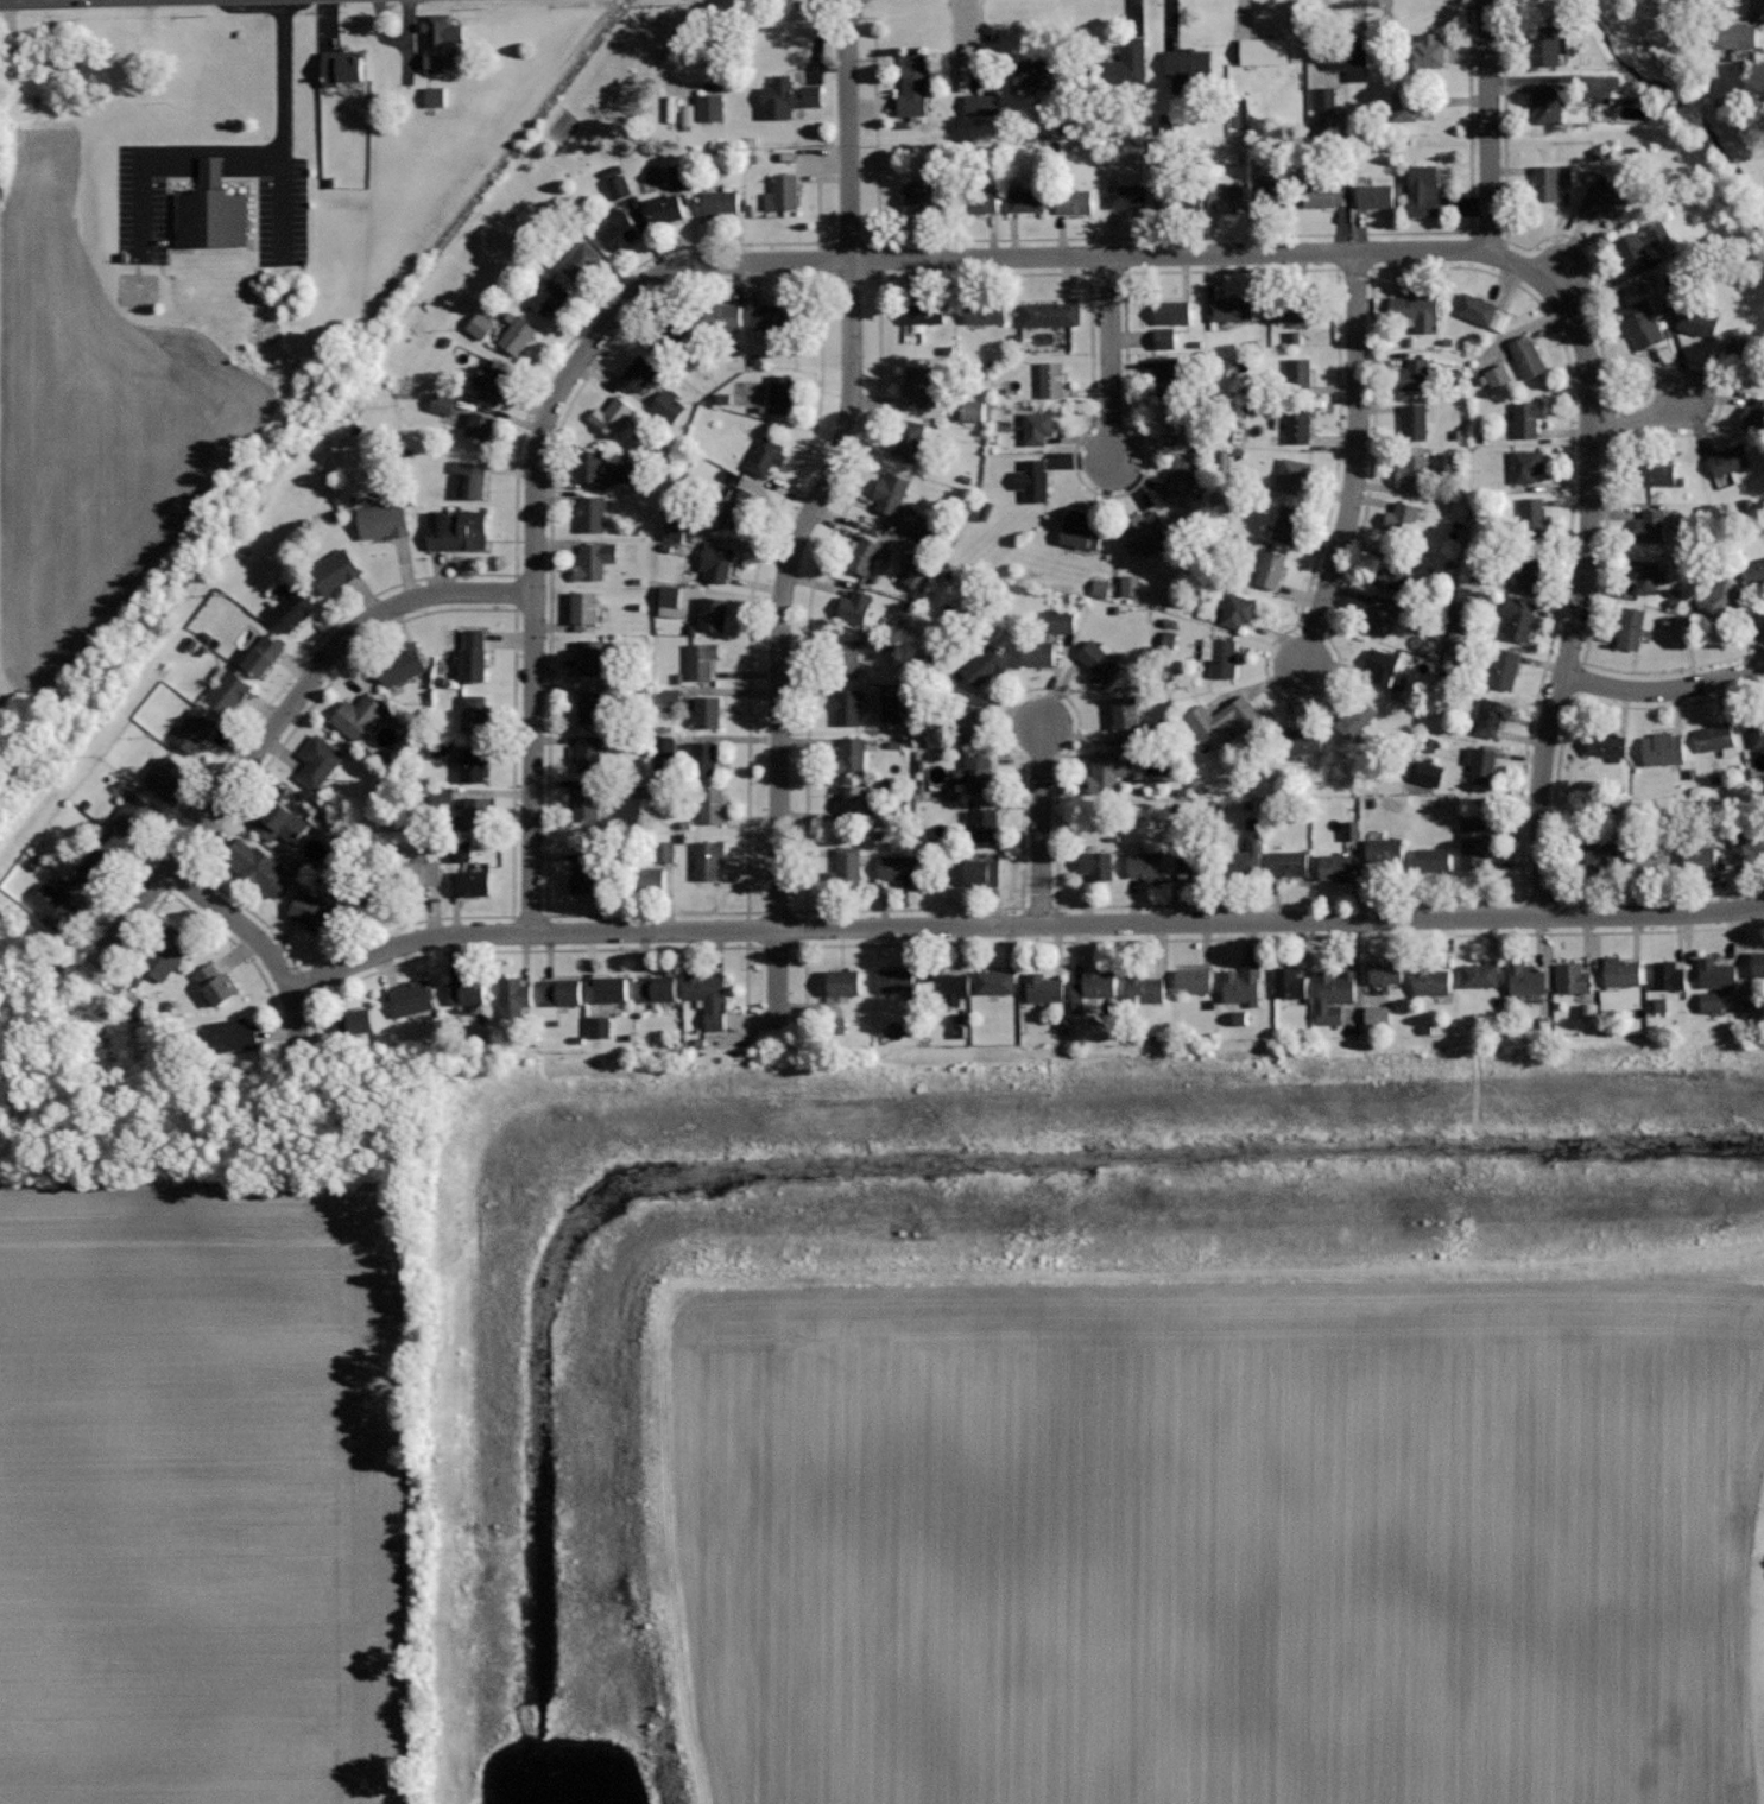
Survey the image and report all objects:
road: (45, 0)
building: (1737, 36)
building: (441, 40)
building: (1545, 45)
building: (1263, 50)
building: (1425, 52)
building: (1348, 58)
building: (1125, 64)
building: (342, 65)
building: (1186, 67)
building: (1035, 72)
building: (913, 86)
building: (440, 97)
building: (786, 97)
building: (1329, 99)
building: (1549, 101)
building: (1412, 105)
building: (985, 106)
building: (714, 108)
building: (1602, 114)
building: (691, 115)
building: (1339, 122)
road: (1488, 126)
road: (284, 131)
road: (169, 151)
building: (1569, 176)
building: (684, 177)
building: (1545, 182)
building: (621, 189)
building: (1423, 190)
building: (782, 192)
building: (1271, 194)
building: (1326, 194)
building: (1126, 195)
building: (1374, 195)
building: (1176, 196)
building: (1226, 196)
building: (923, 197)
building: (1026, 200)
building: (976, 201)
building: (1074, 201)
building: (1602, 201)
building: (720, 202)
building: (665, 208)
building: (210, 209)
building: (619, 228)
building: (1632, 249)
building: (580, 260)
road: (722, 262)
building: (1680, 290)
building: (549, 295)
building: (1288, 306)
building: (1231, 308)
building: (1416, 309)
building: (925, 310)
building: (1479, 310)
building: (984, 311)
building: (1049, 312)
building: (1168, 312)
building: (722, 316)
building: (1697, 317)
building: (770, 318)
building: (1642, 323)
building: (483, 327)
building: (671, 330)
building: (518, 334)
building: (1168, 340)
building: (1743, 349)
building: (1526, 355)
road: (1109, 360)
building: (640, 371)
building: (1298, 372)
building: (1414, 374)
building: (1168, 376)
building: (1501, 378)
building: (1051, 379)
building: (493, 382)
building: (916, 384)
building: (780, 393)
building: (447, 405)
building: (671, 407)
railway: (315, 410)
building: (976, 411)
building: (1754, 414)
building: (612, 416)
building: (1526, 417)
road: (1640, 417)
building: (1297, 419)
building: (1416, 419)
building: (1183, 425)
building: (1037, 426)
building: (480, 428)
building: (909, 439)
building: (765, 455)
building: (1730, 458)
building: (589, 463)
road: (1354, 463)
building: (1525, 464)
building: (1449, 466)
building: (1412, 469)
building: (1654, 470)
building: (1292, 473)
building: (634, 474)
building: (469, 477)
building: (1033, 479)
building: (1180, 479)
building: (891, 493)
building: (739, 502)
building: (727, 505)
building: (590, 512)
road: (810, 513)
building: (1532, 517)
building: (1402, 518)
building: (382, 519)
building: (1288, 523)
building: (1650, 526)
building: (1081, 528)
building: (456, 530)
building: (1145, 531)
building: (677, 532)
building: (861, 553)
building: (594, 559)
building: (716, 561)
road: (1585, 563)
building: (1270, 568)
building: (1526, 568)
building: (335, 570)
building: (1395, 571)
building: (1756, 571)
building: (1642, 574)
building: (922, 575)
building: (1134, 587)
building: (1104, 589)
building: (672, 597)
building: (1720, 600)
building: (291, 607)
building: (584, 607)
building: (854, 607)
building: (1237, 609)
building: (713, 613)
building: (1378, 615)
building: (1518, 616)
building: (1064, 622)
building: (1630, 628)
building: (1172, 643)
building: (1038, 652)
building: (473, 654)
building: (1220, 654)
building: (263, 656)
building: (847, 656)
building: (592, 657)
building: (701, 659)
building: (400, 663)
building: (1099, 663)
building: (985, 665)
building: (1383, 665)
building: (1505, 666)
road: (1663, 690)
building: (228, 692)
building: (675, 697)
building: (894, 704)
building: (846, 705)
building: (592, 707)
building: (707, 710)
building: (1125, 711)
building: (473, 713)
building: (356, 715)
building: (1227, 716)
building: (1354, 716)
building: (1488, 716)
road: (278, 721)
building: (968, 726)
building: (194, 729)
building: (1756, 732)
building: (1715, 738)
building: (1302, 739)
building: (1607, 745)
building: (1663, 747)
building: (668, 748)
building: (588, 752)
building: (851, 755)
building: (703, 758)
building: (318, 760)
building: (474, 765)
building: (1482, 765)
building: (1106, 772)
building: (975, 773)
building: (1435, 776)
building: (166, 777)
building: (588, 799)
building: (854, 802)
building: (712, 805)
building: (480, 811)
building: (135, 816)
building: (279, 822)
building: (985, 824)
road: (1042, 824)
building: (1355, 831)
building: (1473, 844)
building: (1746, 844)
building: (1386, 852)
building: (670, 853)
building: (1606, 855)
building: (708, 856)
building: (1649, 856)
building: (1244, 859)
building: (1431, 859)
building: (1697, 859)
building: (1288, 862)
building: (1145, 863)
building: (1194, 863)
building: (1096, 865)
building: (1334, 865)
building: (255, 866)
building: (900, 868)
building: (95, 869)
building: (845, 869)
building: (417, 872)
building: (981, 872)
building: (587, 873)
building: (473, 881)
building: (651, 881)
road: (197, 893)
building: (367, 897)
building: (61, 907)
building: (311, 910)
road: (1023, 926)
road: (264, 947)
building: (164, 951)
building: (1758, 963)
building: (1385, 969)
building: (1620, 970)
building: (1716, 973)
building: (1479, 974)
building: (1667, 975)
building: (1575, 977)
building: (894, 979)
building: (1193, 979)
building: (1525, 979)
building: (1429, 980)
building: (843, 981)
building: (994, 981)
building: (1288, 982)
building: (216, 983)
building: (1244, 983)
building: (946, 985)
building: (657, 987)
building: (1093, 987)
building: (1143, 987)
building: (609, 988)
building: (1043, 988)
building: (467, 990)
building: (562, 992)
building: (1333, 995)
building: (513, 996)
building: (707, 996)
building: (411, 998)
building: (1715, 1004)
building: (1665, 1007)
building: (1754, 1011)
building: (1383, 1017)
building: (1244, 1019)
building: (354, 1020)
road: (296, 1023)
building: (602, 1030)
building: (230, 1034)

